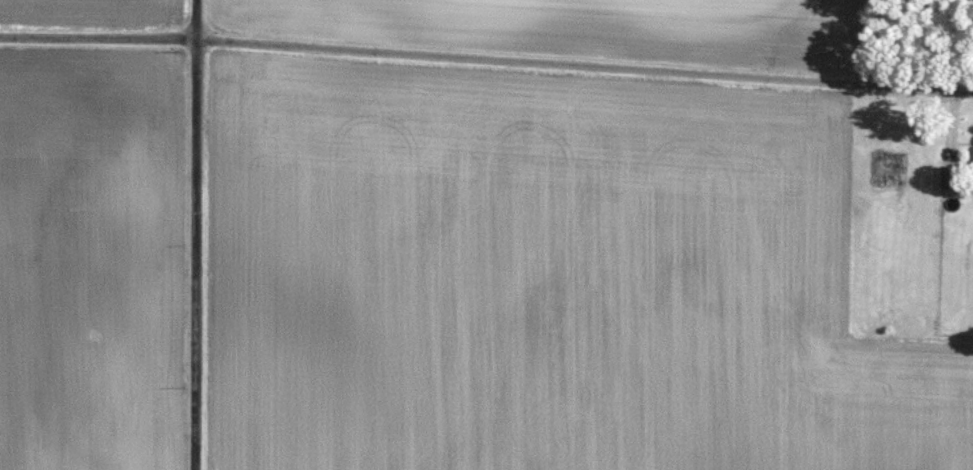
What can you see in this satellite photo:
road: (486, 80)
building: (896, 168)
building: (951, 176)
road: (198, 235)

